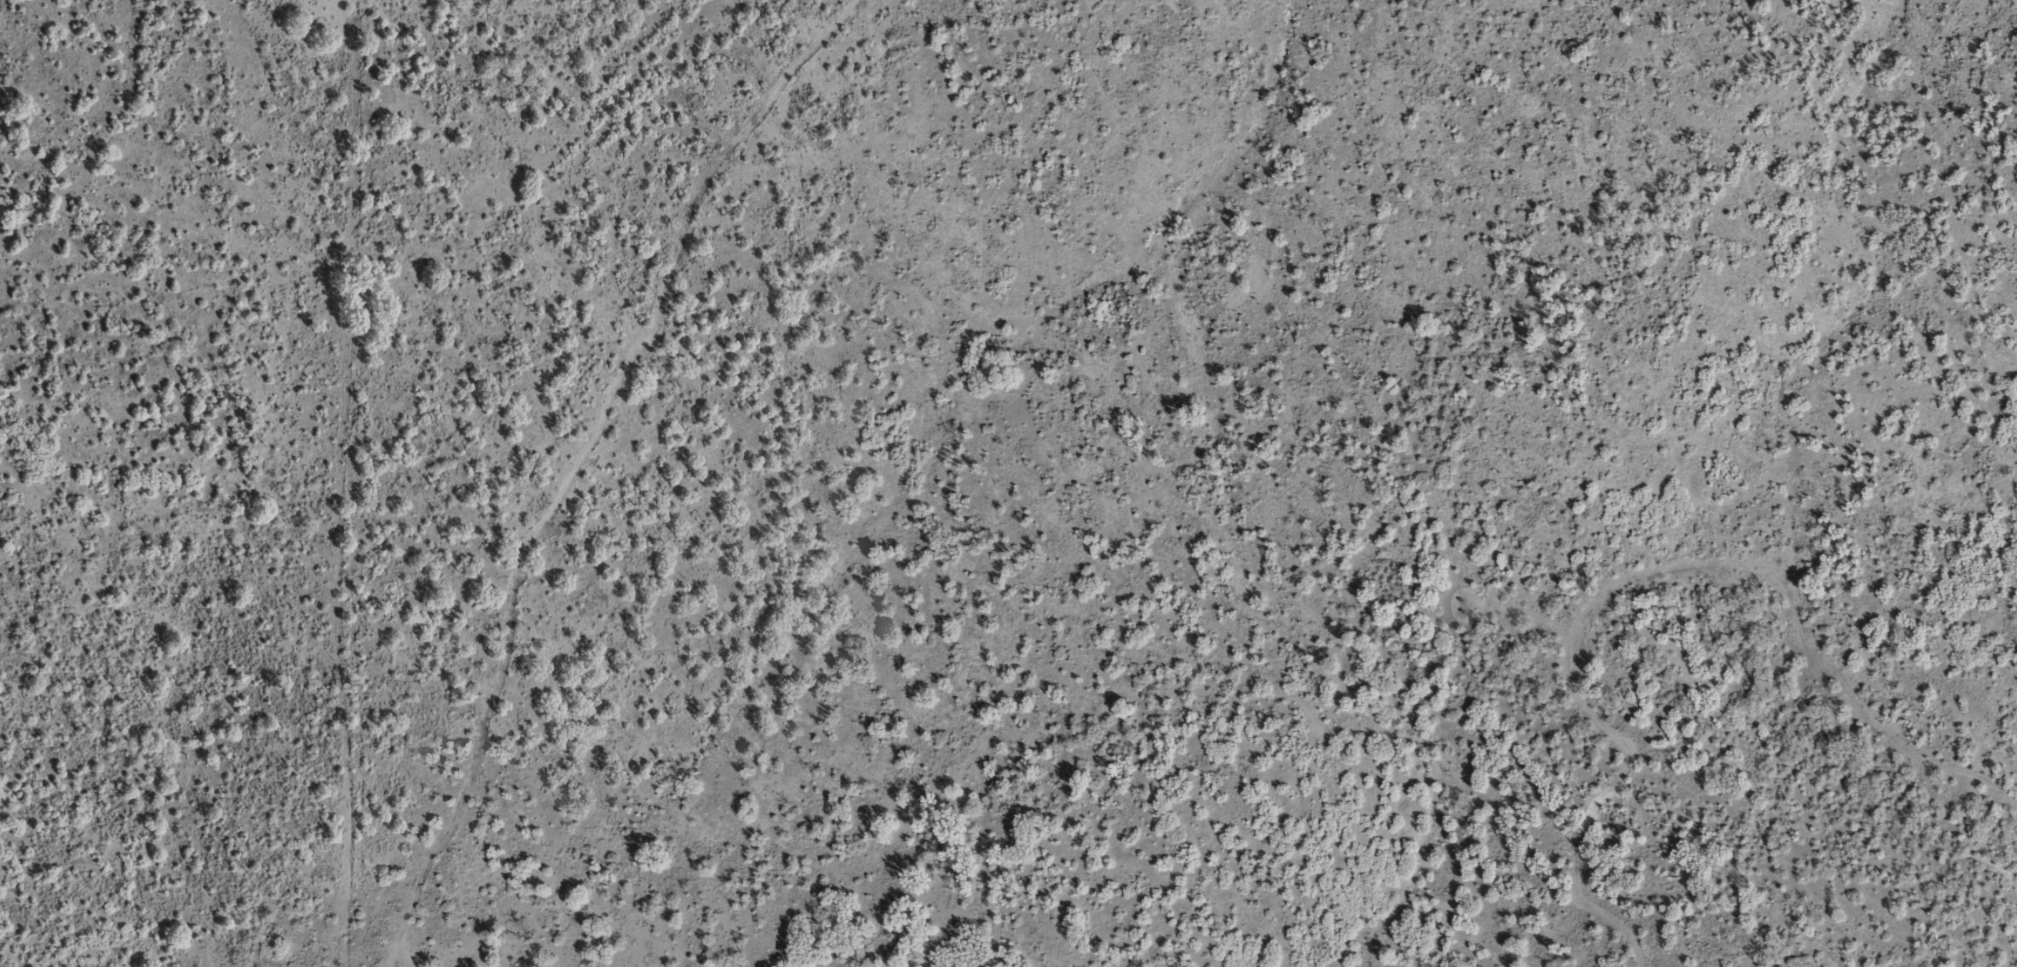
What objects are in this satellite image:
road: (1669, 601)

